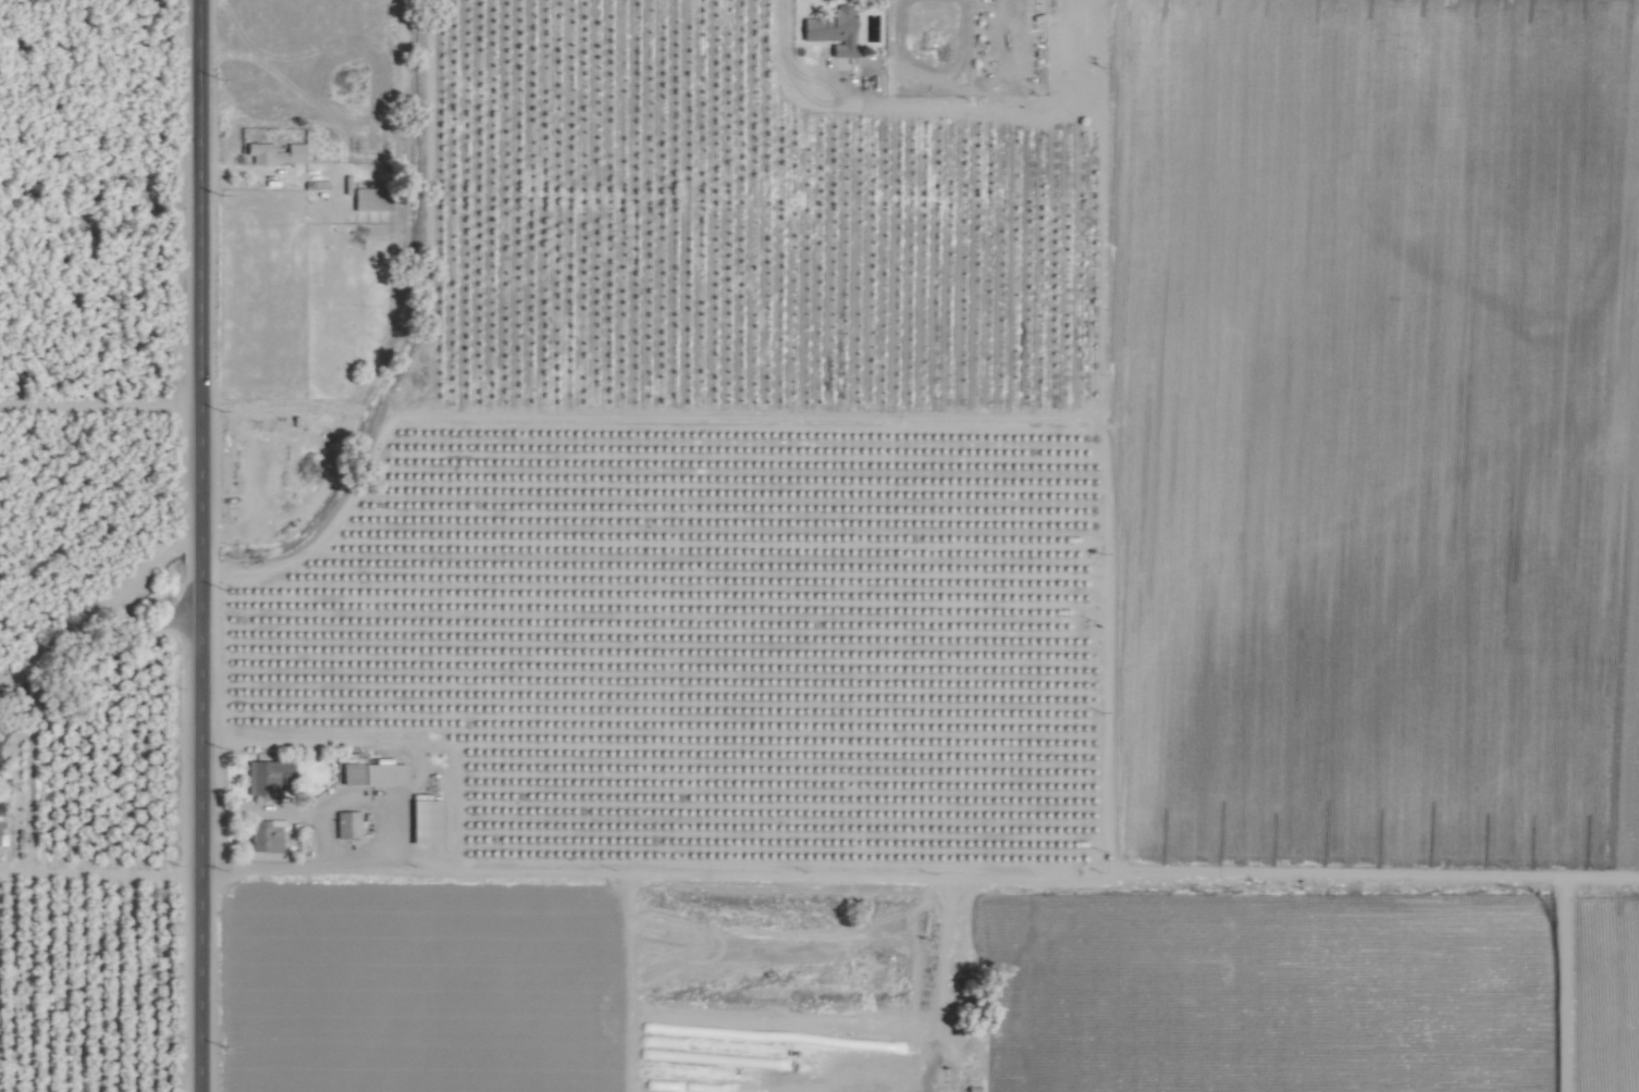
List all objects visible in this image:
building: (831, 29)
building: (274, 152)
road: (193, 545)
crop: (819, 546)
road: (94, 671)
building: (371, 773)
building: (264, 777)
road: (331, 807)
road: (457, 809)
building: (424, 819)
building: (346, 824)
building: (263, 836)
crop: (804, 981)
road: (1032, 1050)

